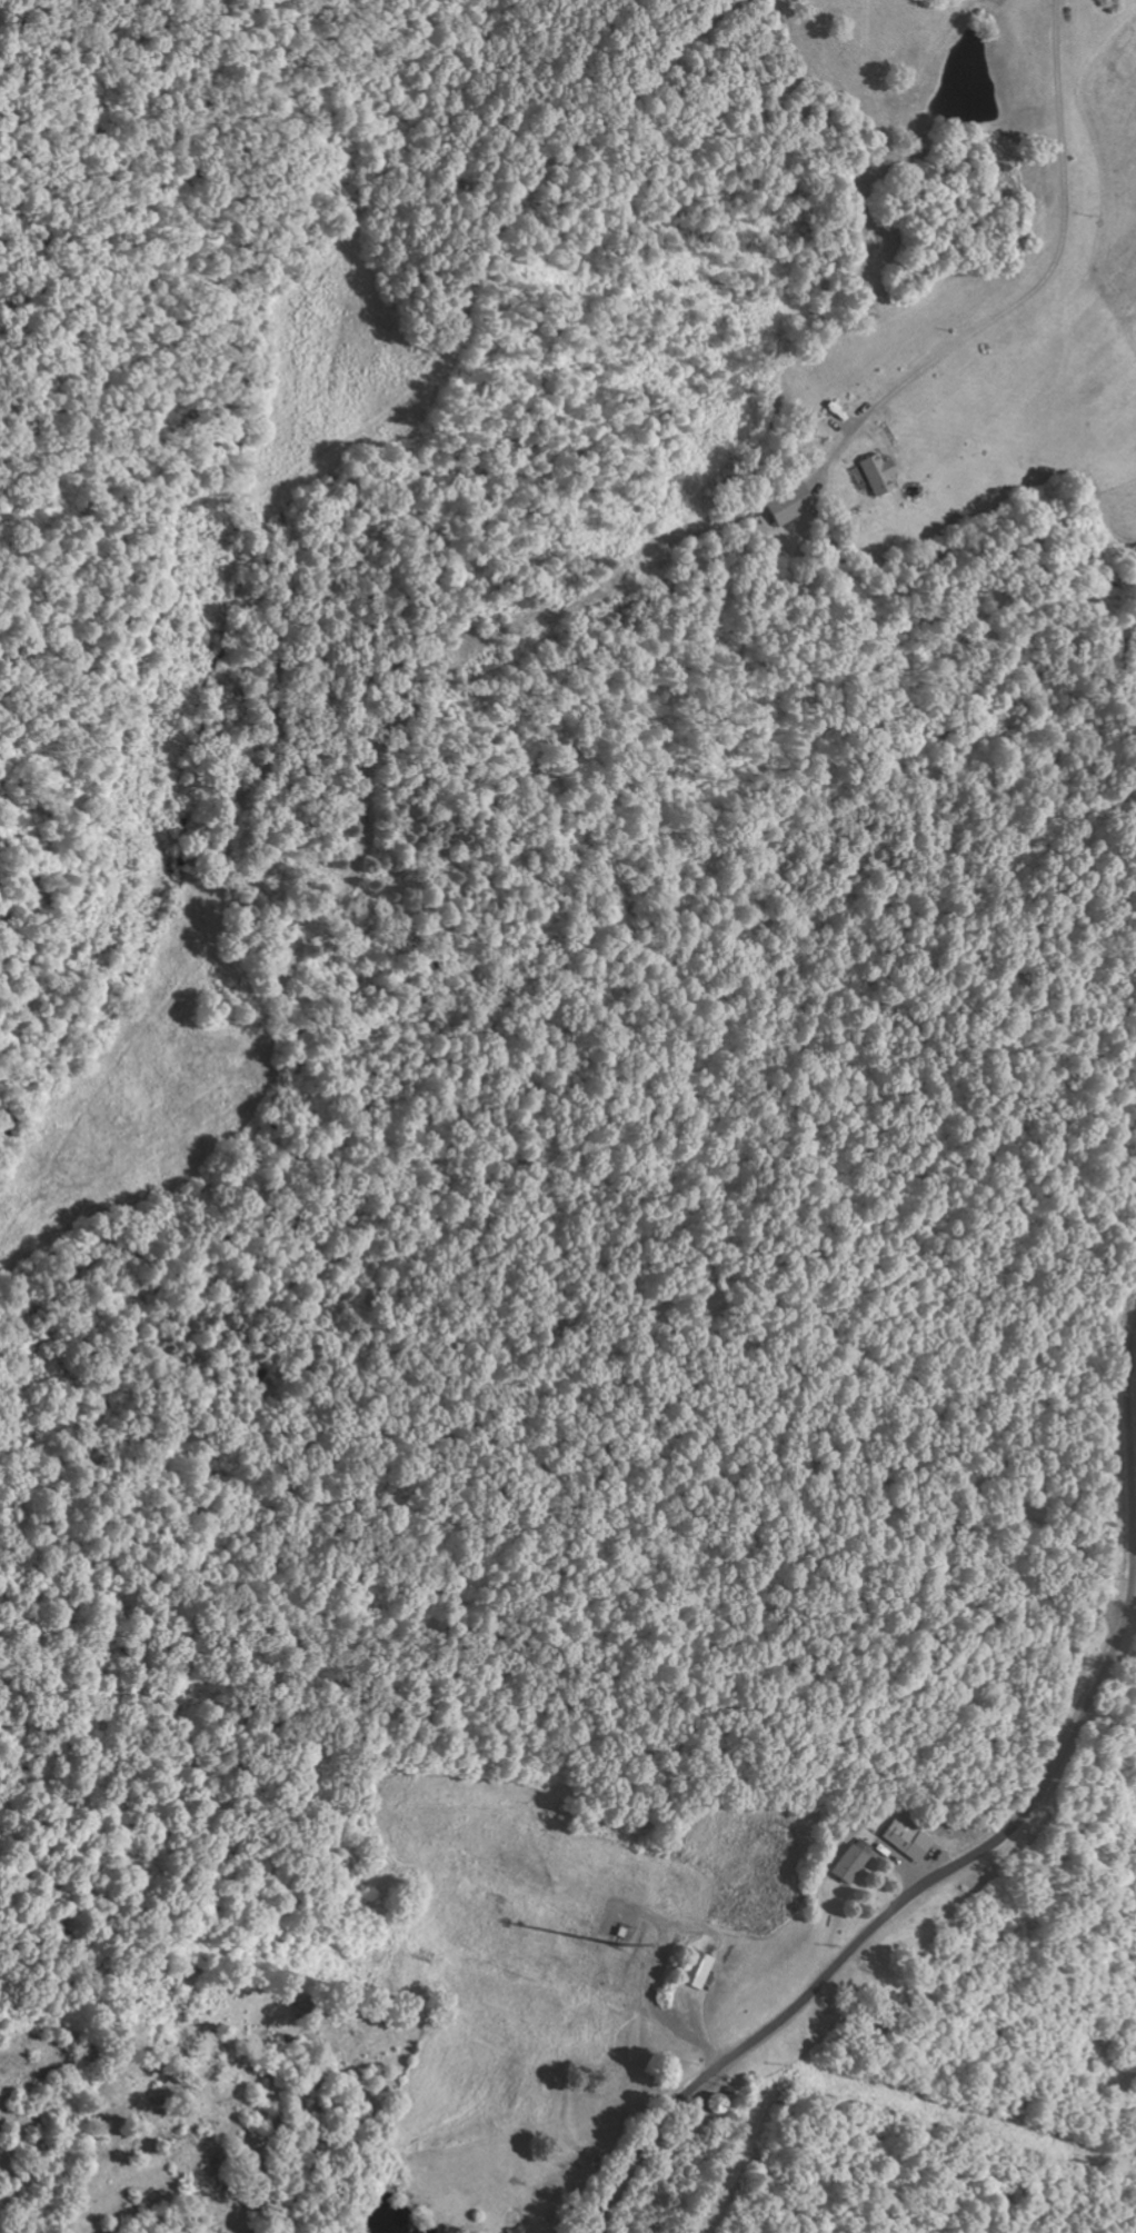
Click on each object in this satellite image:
road: (461, 417)
building: (883, 473)
building: (798, 507)
building: (901, 1837)
road: (985, 1848)
building: (846, 1861)
building: (692, 1970)

